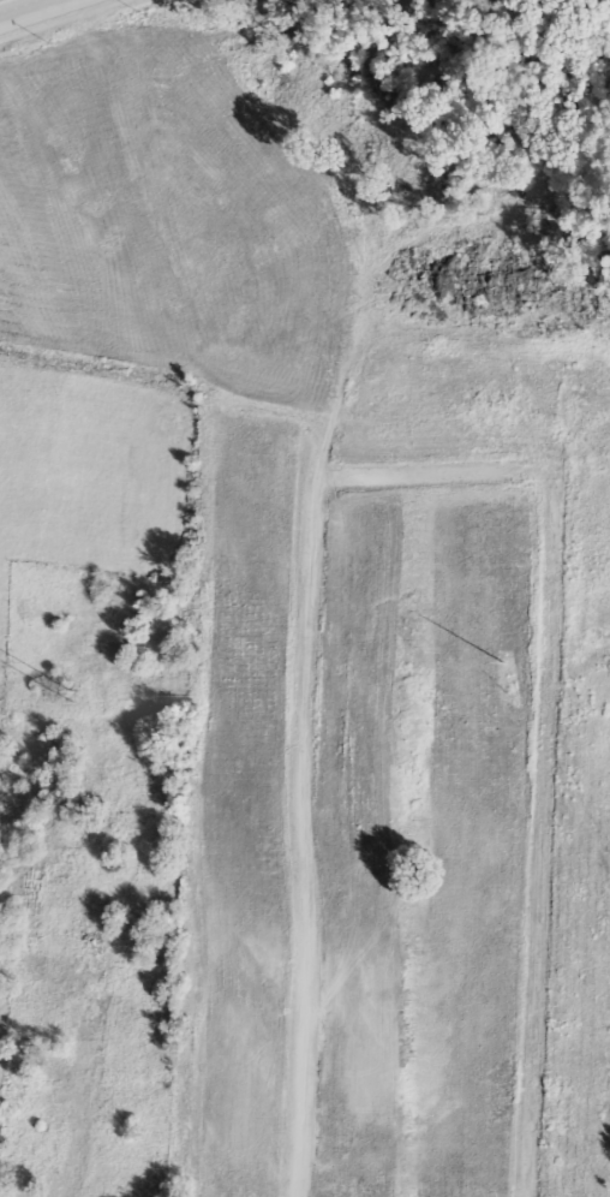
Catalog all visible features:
road: (34, 11)
road: (64, 20)
power tower: (506, 661)
power tower: (76, 697)

